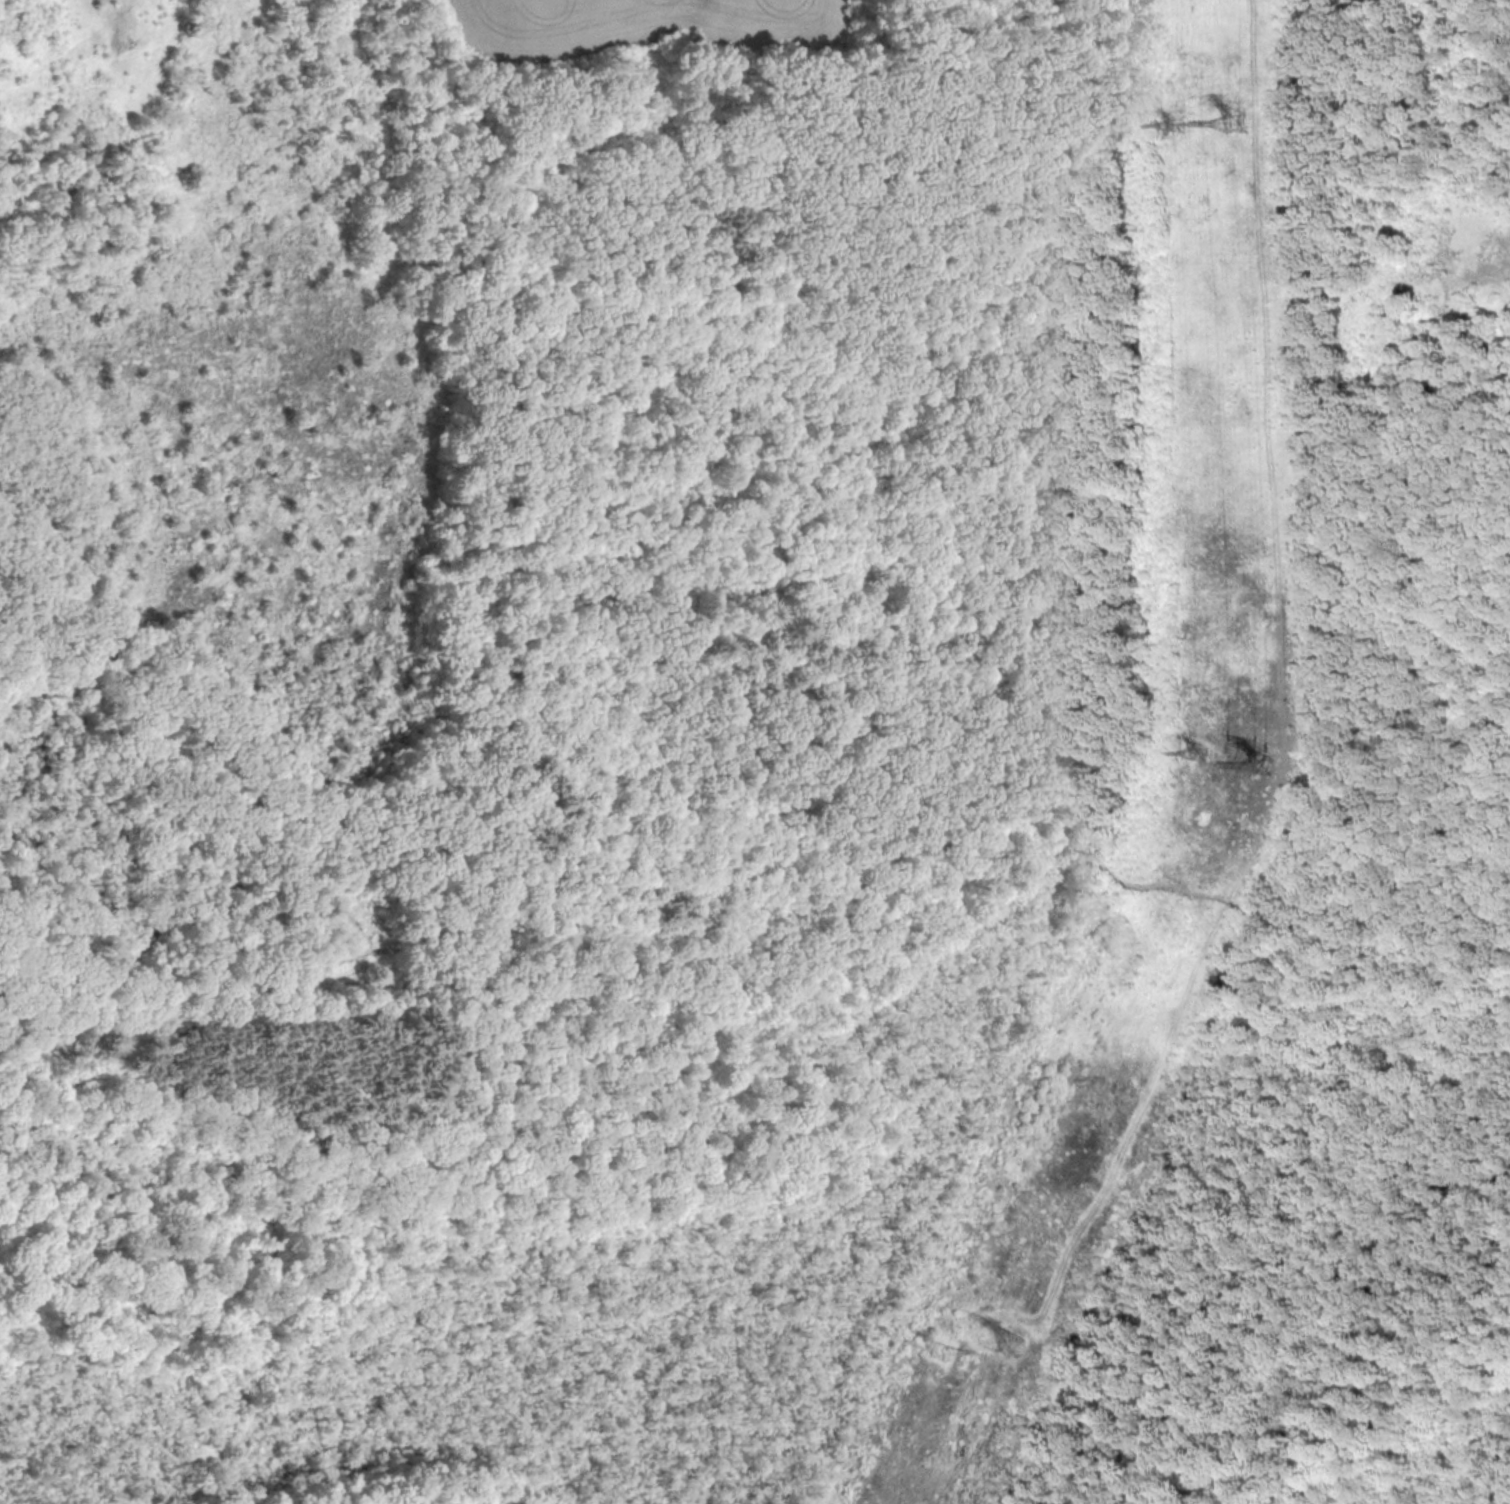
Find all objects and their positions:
crop: (644, 23)
road: (68, 47)
power tower: (1235, 124)
power tower: (1176, 125)
road: (44, 661)
road: (98, 662)
park: (753, 754)
power tower: (1200, 755)
power tower: (1263, 768)
road: (239, 811)
road: (972, 865)
road: (238, 1008)
road: (1126, 1138)
road: (113, 1177)
road: (73, 1272)
road: (26, 1312)
road: (141, 1313)
power tower: (1009, 1344)
power tower: (940, 1349)
road: (219, 1429)

